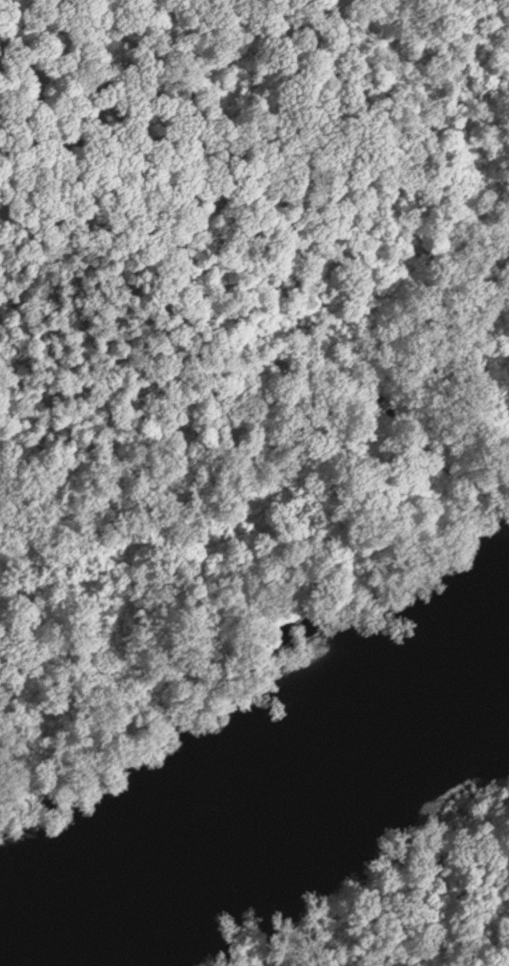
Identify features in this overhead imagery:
road: (451, 353)
road: (384, 405)
road: (200, 506)
river: (268, 812)

